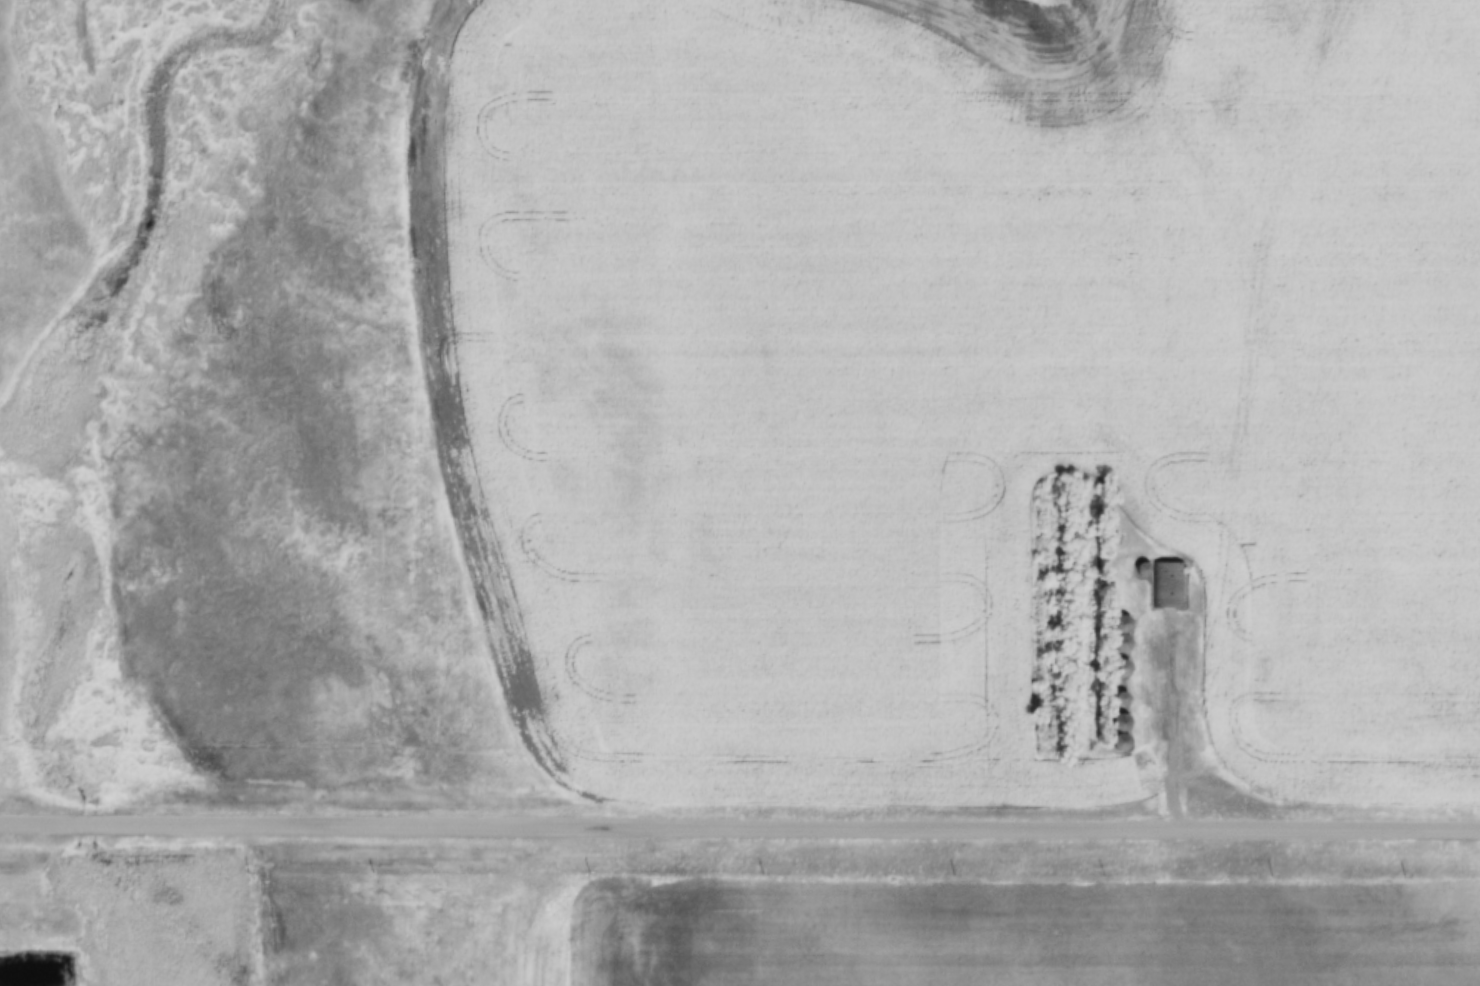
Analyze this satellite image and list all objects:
building: (1130, 636)
building: (1131, 671)
building: (1251, 683)
building: (1129, 701)
road: (1179, 723)
building: (1128, 737)
road: (739, 824)

